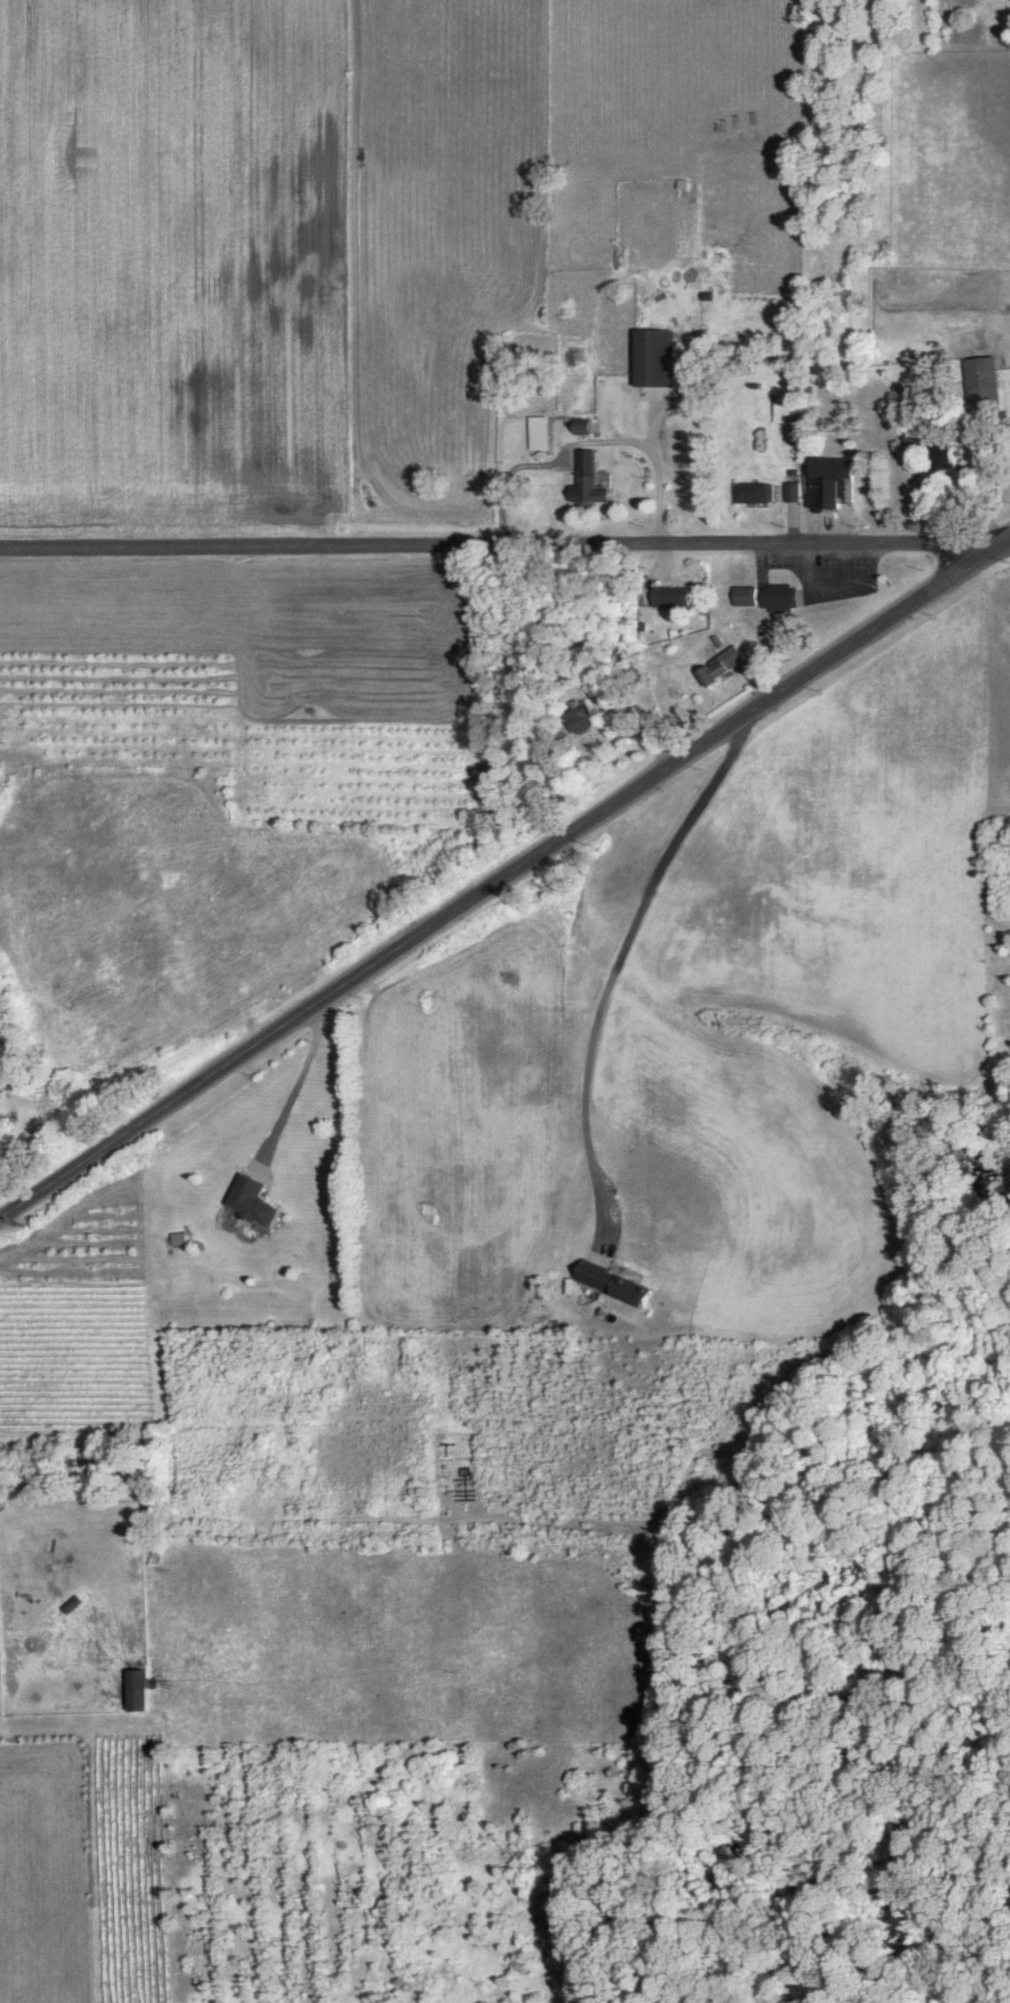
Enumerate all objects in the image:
building: (658, 358)
building: (983, 381)
building: (587, 426)
building: (543, 433)
road: (588, 442)
building: (948, 458)
building: (592, 481)
building: (831, 483)
building: (792, 492)
building: (755, 493)
road: (504, 549)
building: (747, 596)
building: (674, 597)
building: (781, 598)
building: (723, 667)
building: (585, 718)
road: (505, 882)
road: (614, 964)
road: (296, 1088)
building: (255, 1201)
building: (619, 1285)
building: (72, 1605)
building: (137, 1691)

